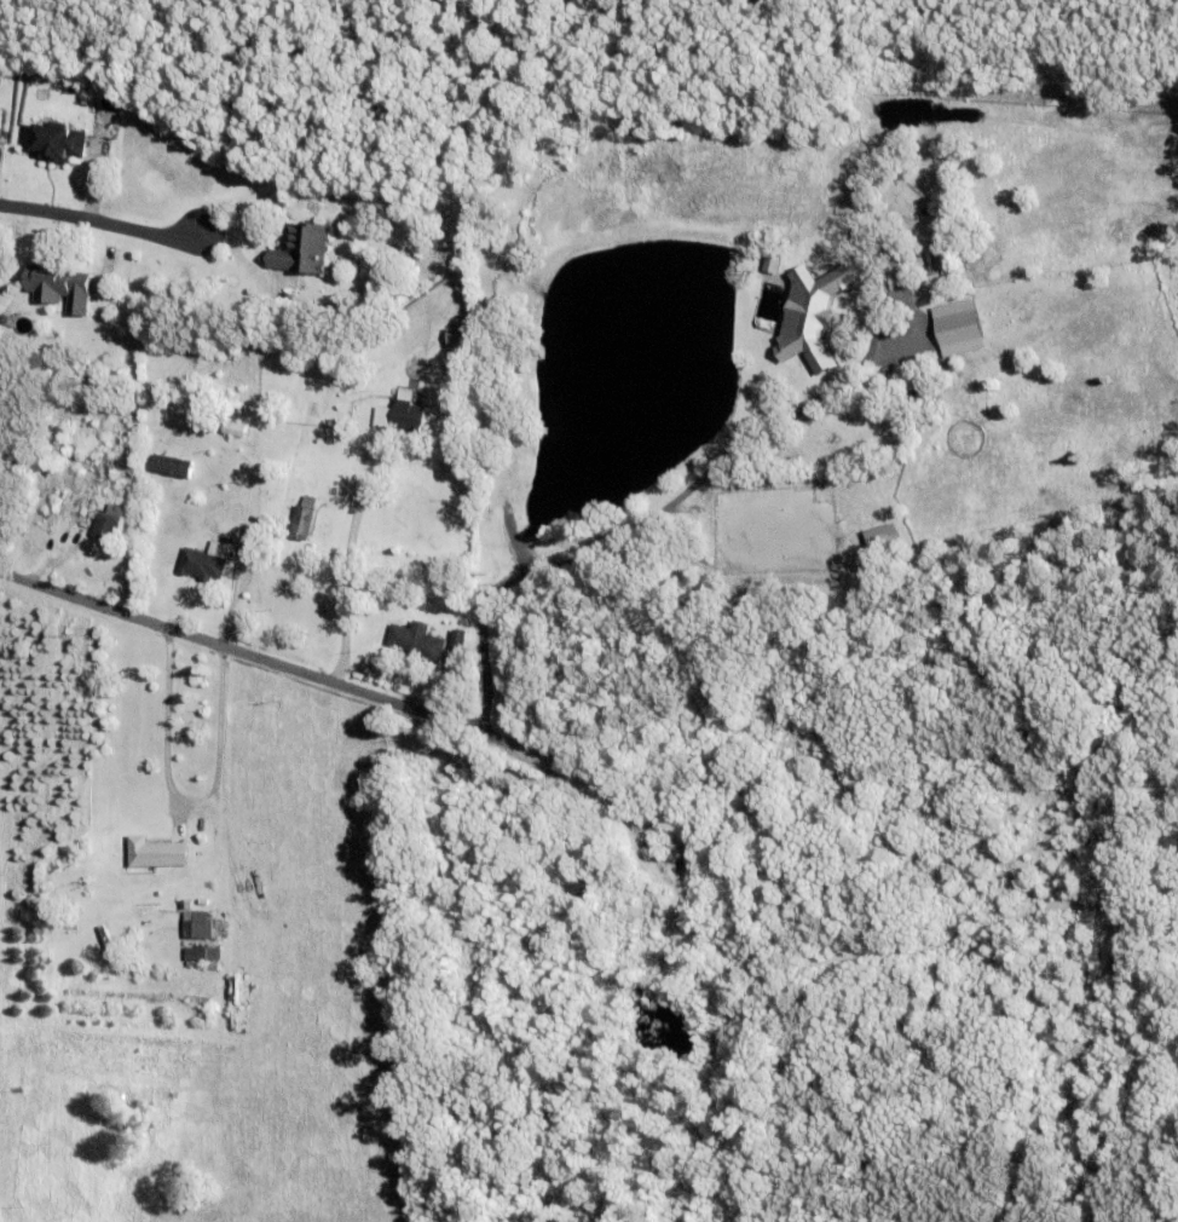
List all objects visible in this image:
building: (10, 74)
building: (58, 140)
road: (108, 224)
building: (302, 247)
building: (59, 284)
building: (810, 315)
building: (955, 327)
building: (455, 342)
building: (457, 367)
building: (329, 394)
building: (236, 414)
building: (409, 415)
building: (235, 427)
building: (114, 465)
building: (172, 465)
building: (347, 475)
building: (304, 517)
building: (109, 521)
road: (641, 523)
road: (346, 552)
building: (202, 564)
building: (460, 639)
building: (417, 640)
road: (322, 678)
road: (180, 801)
building: (156, 853)
building: (581, 888)
building: (728, 888)
building: (185, 904)
building: (639, 906)
building: (640, 921)
building: (200, 926)
building: (203, 956)
building: (670, 959)
building: (191, 964)

